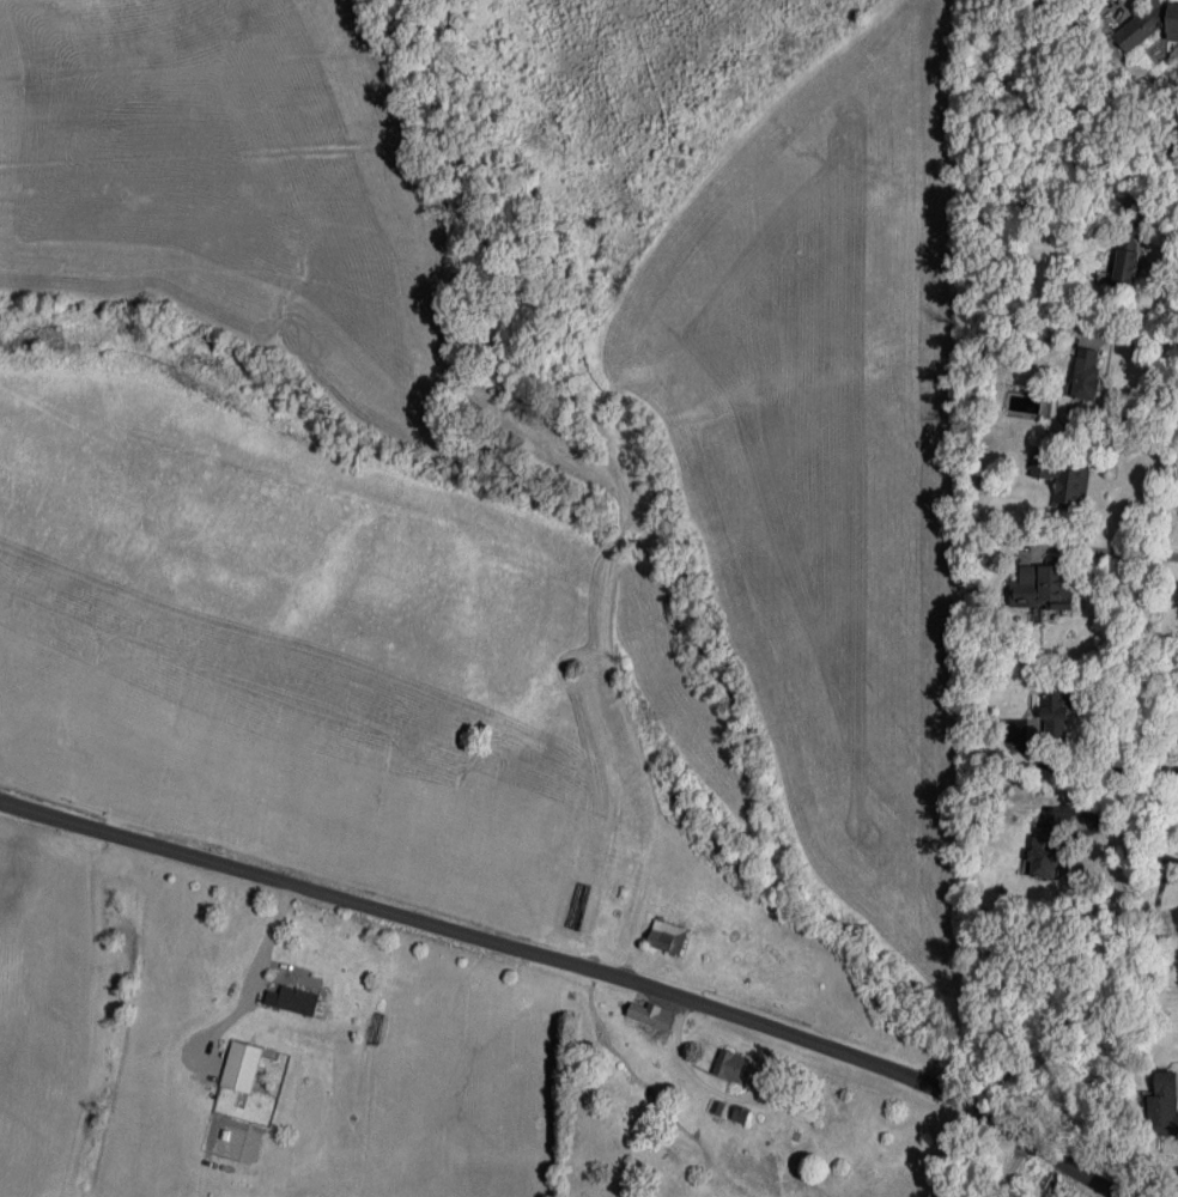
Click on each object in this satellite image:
building: (1149, 24)
road: (1156, 212)
building: (1128, 254)
road: (1143, 341)
building: (1085, 376)
road: (1133, 448)
building: (1064, 480)
road: (1107, 552)
building: (1043, 587)
building: (1055, 700)
road: (1091, 771)
road: (1112, 826)
building: (1044, 851)
building: (667, 936)
road: (575, 964)
road: (254, 979)
building: (293, 999)
building: (652, 1015)
road: (678, 1056)
building: (241, 1065)
building: (731, 1065)
building: (1161, 1105)
building: (740, 1114)
road: (1014, 1168)

